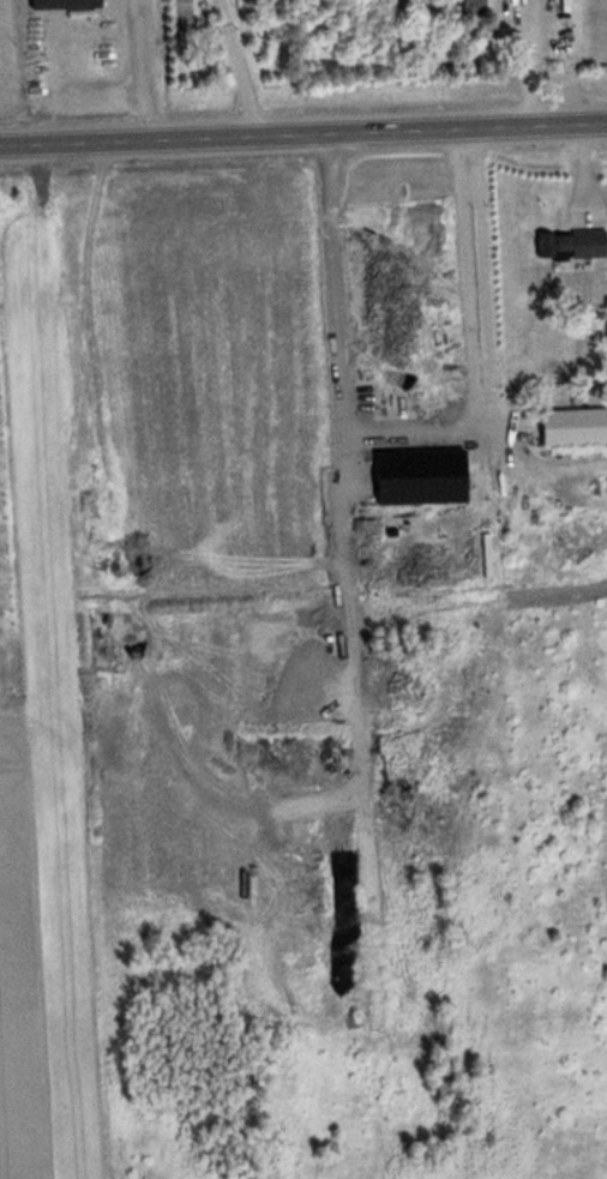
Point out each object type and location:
building: (71, 5)
building: (479, 6)
road: (303, 132)
building: (576, 247)
building: (577, 427)
crop: (44, 950)

